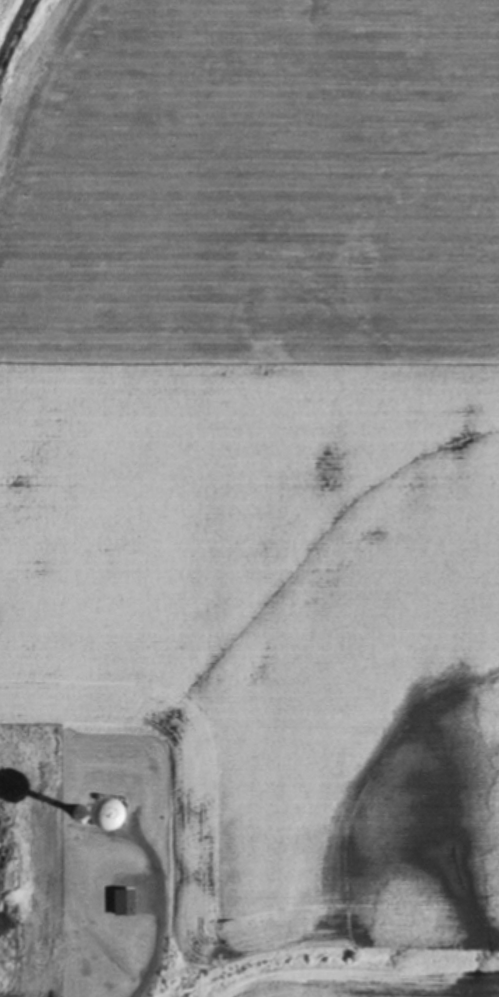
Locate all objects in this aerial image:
crop: (266, 459)
building: (53, 811)
water tower: (87, 811)
building: (75, 816)
park: (95, 867)
building: (119, 903)
road: (158, 935)

